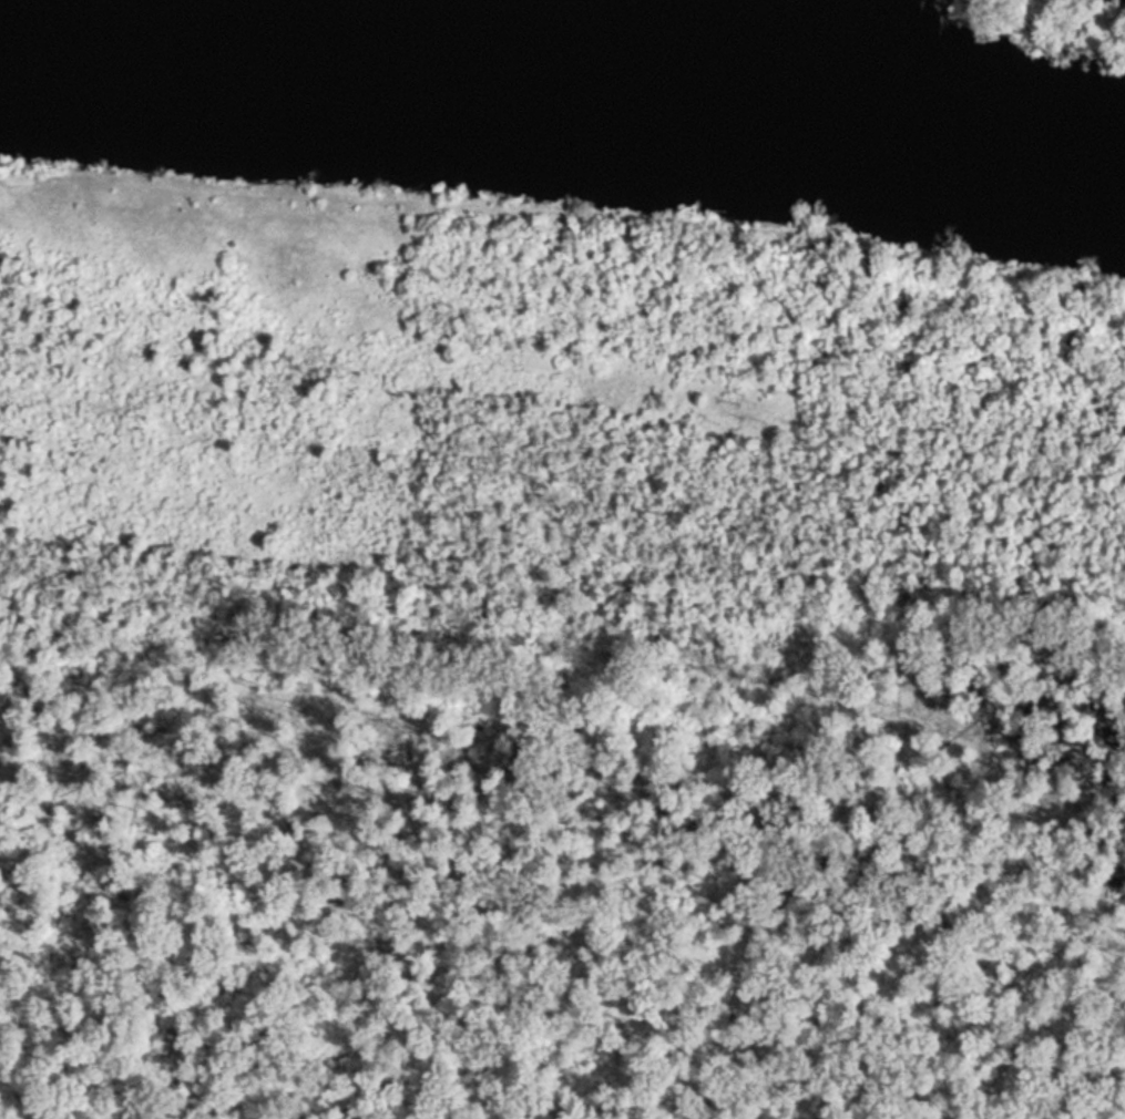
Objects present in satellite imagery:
river: (563, 84)
road: (563, 237)

